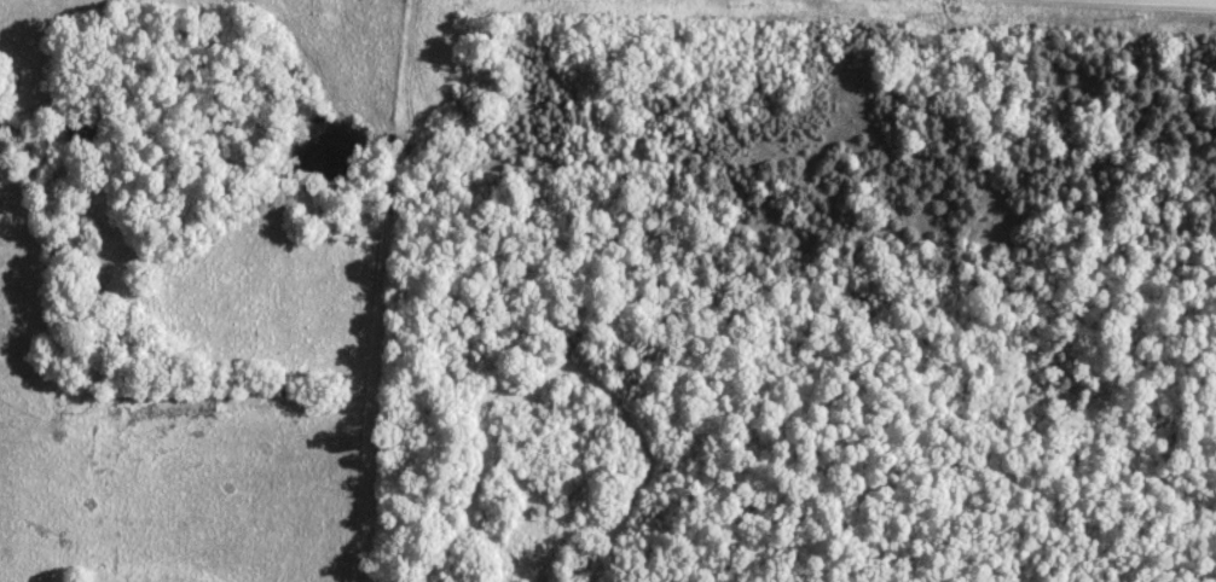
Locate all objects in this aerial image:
road: (1147, 2)
road: (1123, 4)

